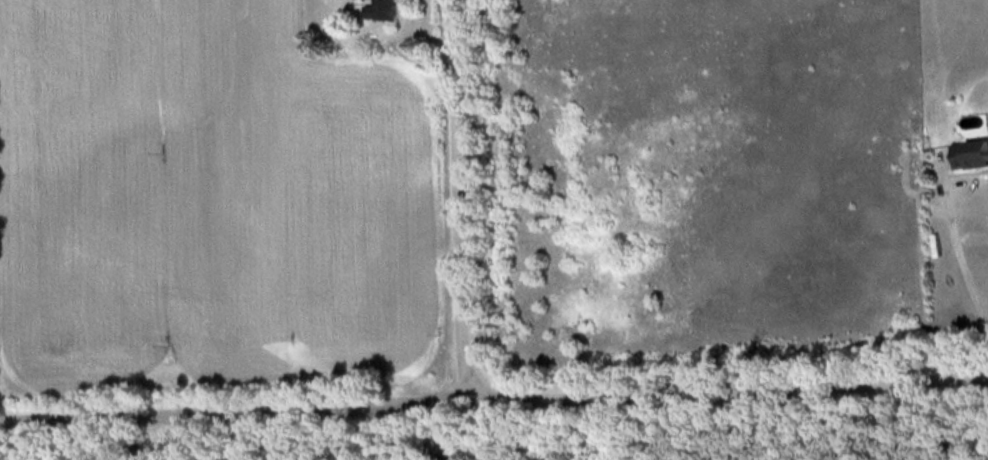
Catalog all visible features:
building: (380, 8)
building: (971, 153)
road: (460, 198)
road: (955, 244)
road: (493, 395)
road: (247, 432)

